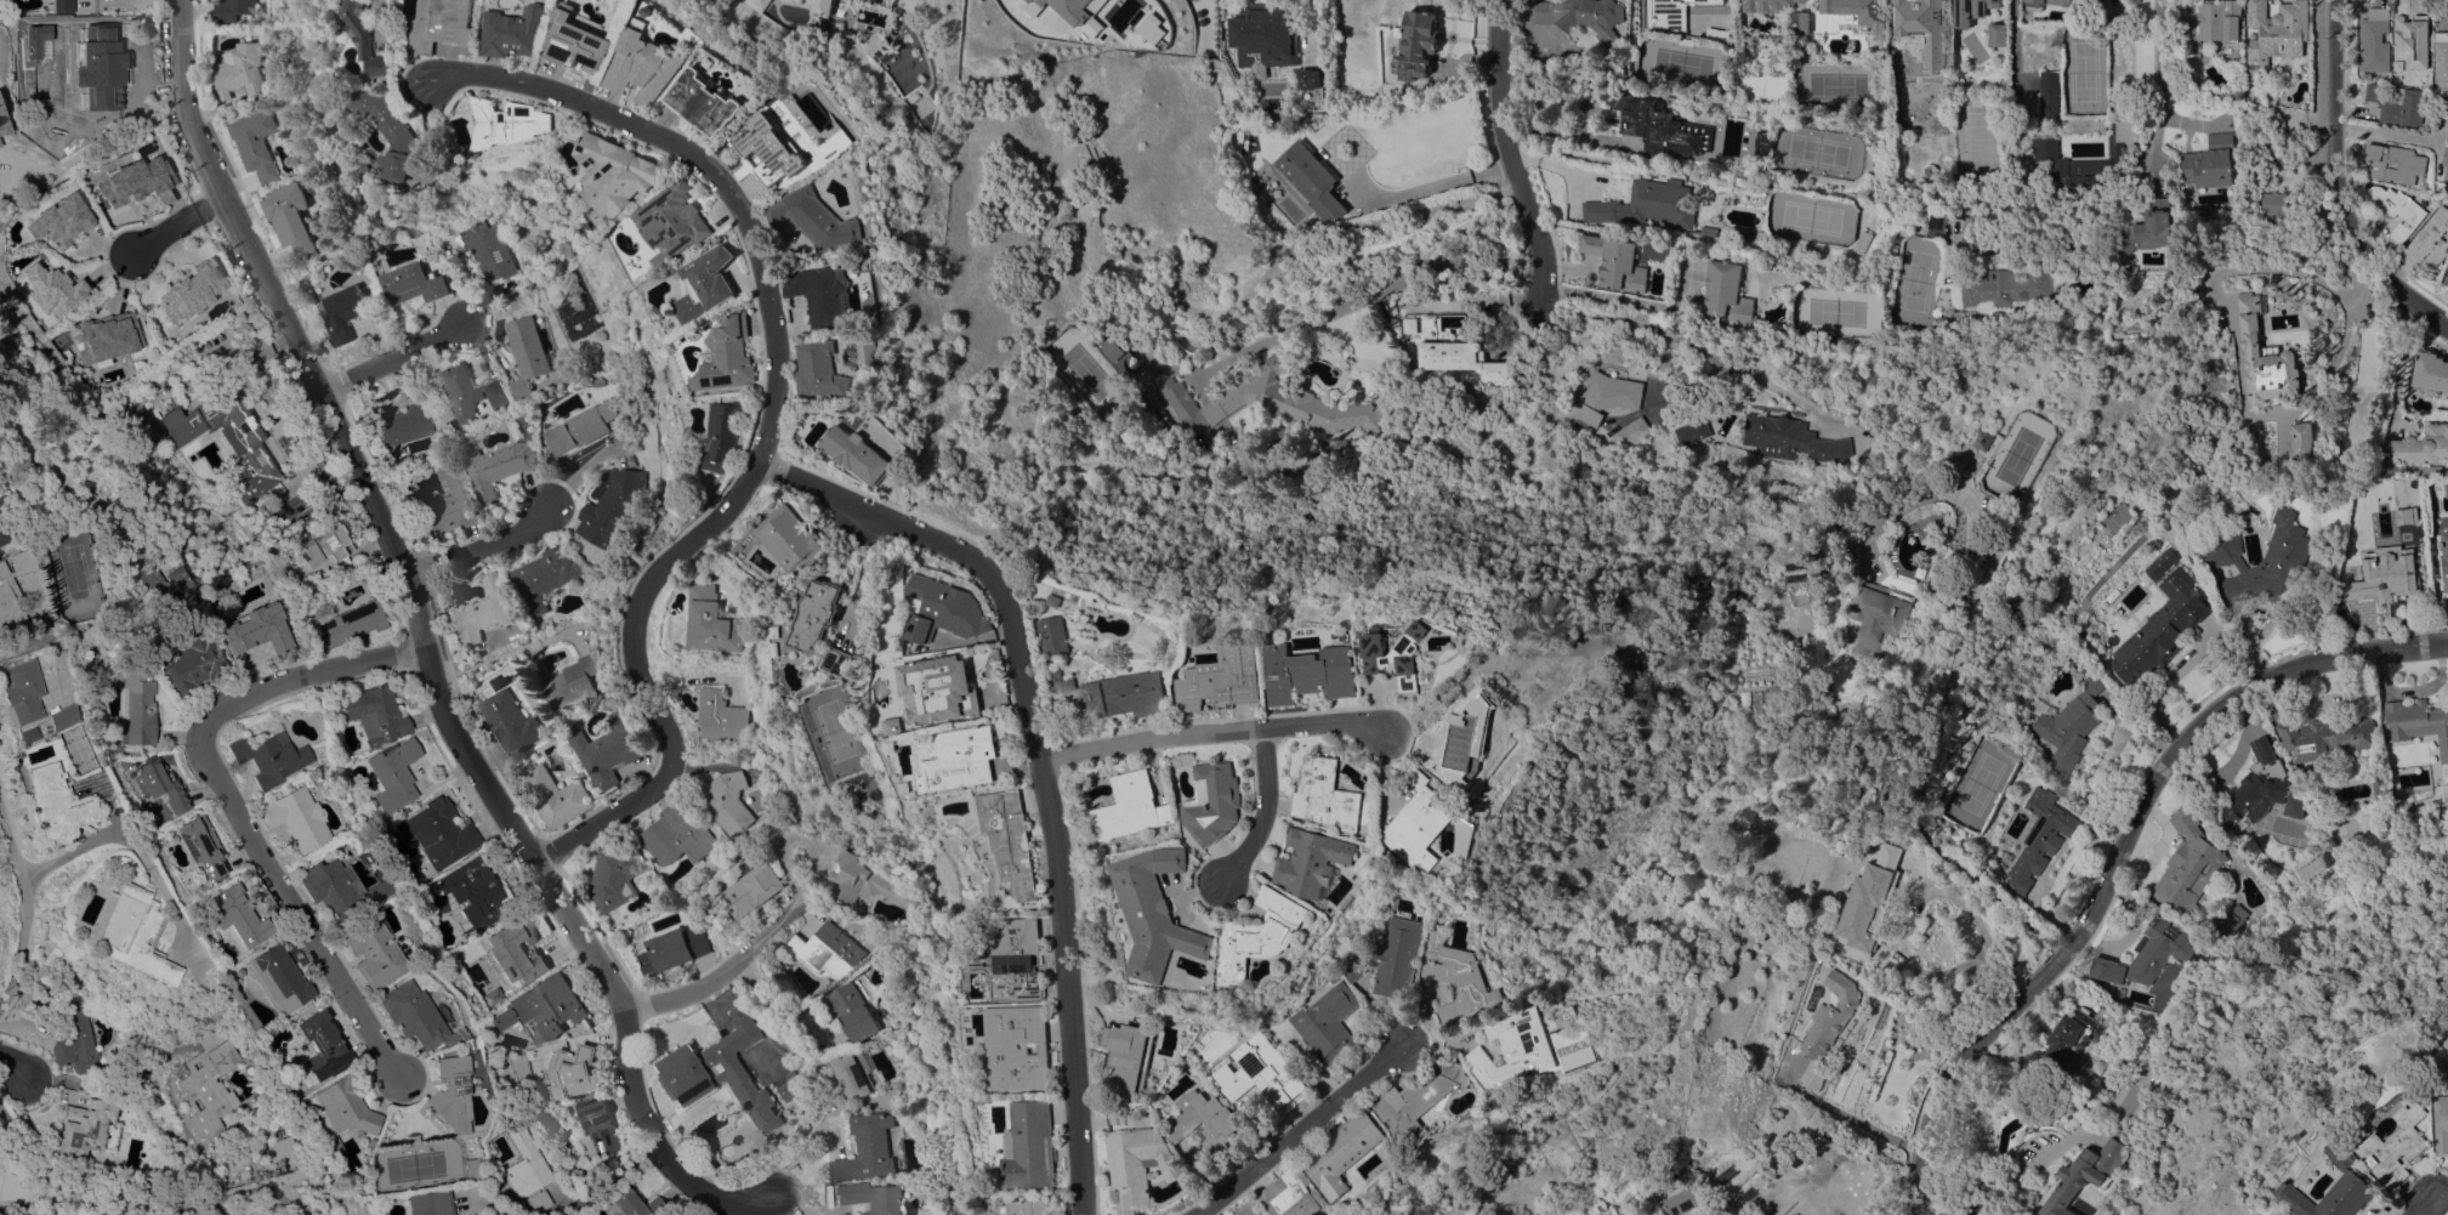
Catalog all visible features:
building: (790, 0)
building: (1706, 0)
building: (1018, 1)
building: (759, 4)
building: (1771, 5)
building: (2045, 5)
building: (2101, 5)
building: (63, 6)
building: (822, 6)
building: (232, 8)
building: (1856, 10)
building: (1971, 11)
building: (1073, 12)
building: (1100, 15)
building: (1575, 16)
building: (1666, 16)
building: (1800, 22)
building: (2209, 22)
building: (454, 24)
building: (839, 25)
building: (1922, 28)
building: (1152, 29)
building: (526, 30)
building: (375, 32)
building: (2274, 33)
building: (1263, 34)
building: (1998, 34)
building: (2412, 39)
building: (2375, 40)
building: (587, 42)
building: (1416, 44)
road: (2011, 45)
building: (880, 47)
building: (1780, 53)
building: (2441, 56)
building: (1899, 63)
building: (652, 64)
building: (96, 70)
building: (242, 70)
road: (2159, 83)
building: (1311, 84)
building: (2049, 95)
building: (714, 101)
building: (1272, 106)
building: (2398, 106)
building: (2444, 108)
building: (518, 123)
building: (1660, 126)
building: (399, 130)
road: (2387, 132)
building: (2, 136)
building: (51, 141)
building: (1765, 141)
building: (256, 142)
building: (779, 148)
road: (2317, 154)
road: (1510, 158)
building: (2287, 158)
building: (2050, 159)
building: (2209, 161)
building: (2395, 163)
building: (2446, 164)
building: (379, 166)
building: (623, 172)
building: (1308, 177)
building: (135, 180)
road: (1432, 183)
building: (4, 186)
road: (2336, 186)
building: (1646, 204)
building: (2274, 205)
building: (1572, 208)
building: (2401, 211)
building: (1571, 215)
building: (291, 217)
building: (824, 218)
building: (59, 220)
building: (678, 222)
building: (2148, 227)
road: (171, 231)
building: (1708, 231)
building: (1745, 235)
building: (2430, 240)
building: (1863, 242)
building: (1893, 248)
building: (489, 250)
building: (1890, 256)
building: (1617, 262)
road: (1422, 276)
building: (2447, 279)
building: (415, 283)
building: (715, 283)
building: (53, 289)
building: (194, 290)
building: (2006, 290)
building: (1727, 293)
building: (835, 294)
building: (1943, 296)
building: (346, 311)
building: (1410, 324)
building: (107, 337)
road: (1693, 346)
building: (1115, 348)
building: (1345, 351)
road: (396, 353)
building: (526, 353)
building: (739, 354)
building: (1460, 358)
building: (2265, 360)
building: (833, 369)
building: (2430, 370)
building: (593, 381)
building: (461, 392)
building: (496, 394)
building: (1608, 396)
building: (1279, 402)
building: (399, 422)
road: (779, 424)
building: (581, 426)
building: (1696, 431)
building: (1634, 432)
building: (733, 435)
building: (227, 438)
building: (1795, 438)
building: (1989, 439)
building: (2301, 439)
building: (2418, 445)
building: (870, 453)
building: (499, 466)
building: (1, 504)
building: (448, 506)
building: (612, 506)
building: (290, 510)
building: (2403, 515)
building: (5, 529)
building: (803, 536)
road: (484, 541)
building: (320, 552)
building: (2285, 553)
building: (2446, 561)
building: (2160, 563)
building: (544, 577)
building: (2380, 578)
building: (159, 580)
building: (5, 587)
building: (1070, 600)
building: (960, 609)
building: (483, 611)
building: (1885, 612)
building: (720, 621)
building: (835, 623)
building: (259, 626)
building: (346, 626)
building: (2159, 628)
building: (1069, 635)
road: (23, 645)
road: (420, 648)
building: (1414, 652)
building: (192, 664)
building: (1324, 672)
building: (1237, 677)
building: (573, 681)
road: (1953, 685)
building: (958, 688)
building: (18, 693)
building: (1124, 694)
building: (1237, 705)
building: (136, 706)
building: (375, 714)
building: (727, 716)
building: (58, 717)
building: (510, 721)
building: (2067, 722)
building: (2418, 723)
building: (910, 725)
road: (1233, 726)
building: (2319, 733)
building: (24, 734)
building: (1487, 734)
building: (608, 749)
building: (268, 757)
road: (1055, 757)
building: (979, 759)
building: (393, 774)
building: (159, 785)
building: (2254, 787)
building: (1341, 794)
building: (555, 796)
road: (232, 797)
building: (729, 801)
building: (1227, 802)
building: (55, 805)
building: (2296, 805)
building: (1147, 806)
road: (1280, 808)
building: (296, 818)
building: (1435, 822)
building: (438, 833)
building: (676, 834)
building: (1023, 836)
building: (2039, 838)
building: (200, 846)
road: (63, 853)
building: (2325, 856)
road: (2117, 857)
building: (1327, 861)
building: (2260, 861)
building: (2187, 863)
building: (613, 876)
building: (870, 881)
building: (339, 888)
building: (754, 890)
building: (475, 892)
building: (1864, 908)
building: (1168, 912)
road: (22, 914)
road: (2052, 915)
building: (237, 918)
building: (2231, 919)
building: (1918, 929)
building: (132, 933)
building: (1272, 933)
building: (672, 948)
building: (370, 950)
building: (502, 950)
building: (829, 950)
building: (2147, 954)
building: (1398, 956)
building: (1026, 960)
road: (720, 972)
building: (278, 978)
building: (1466, 978)
building: (750, 1003)
building: (547, 1006)
road: (782, 1006)
building: (852, 1011)
building: (413, 1016)
building: (1829, 1016)
building: (501, 1018)
building: (1333, 1022)
building: (76, 1040)
building: (2063, 1043)
building: (1023, 1046)
building: (319, 1049)
building: (1522, 1051)
building: (1134, 1057)
building: (1585, 1057)
road: (19, 1067)
building: (1267, 1071)
building: (570, 1072)
building: (719, 1072)
building: (853, 1074)
building: (1813, 1075)
building: (208, 1081)
building: (786, 1086)
building: (450, 1092)
building: (888, 1096)
building: (1425, 1098)
building: (343, 1107)
road: (1838, 1111)
building: (1208, 1119)
building: (2444, 1123)
building: (87, 1128)
building: (595, 1129)
road: (1300, 1132)
building: (334, 1146)
building: (1032, 1146)
building: (2403, 1146)
road: (800, 1147)
building: (278, 1148)
building: (864, 1148)
building: (1345, 1152)
building: (1140, 1163)
building: (470, 1169)
building: (527, 1170)
building: (2084, 1175)
building: (2333, 1177)
building: (1830, 1188)
building: (1285, 1197)
building: (870, 1198)
building: (1681, 1202)
building: (428, 1203)
building: (634, 1204)
road: (790, 1204)
building: (1027, 1205)
road: (2433, 1207)

